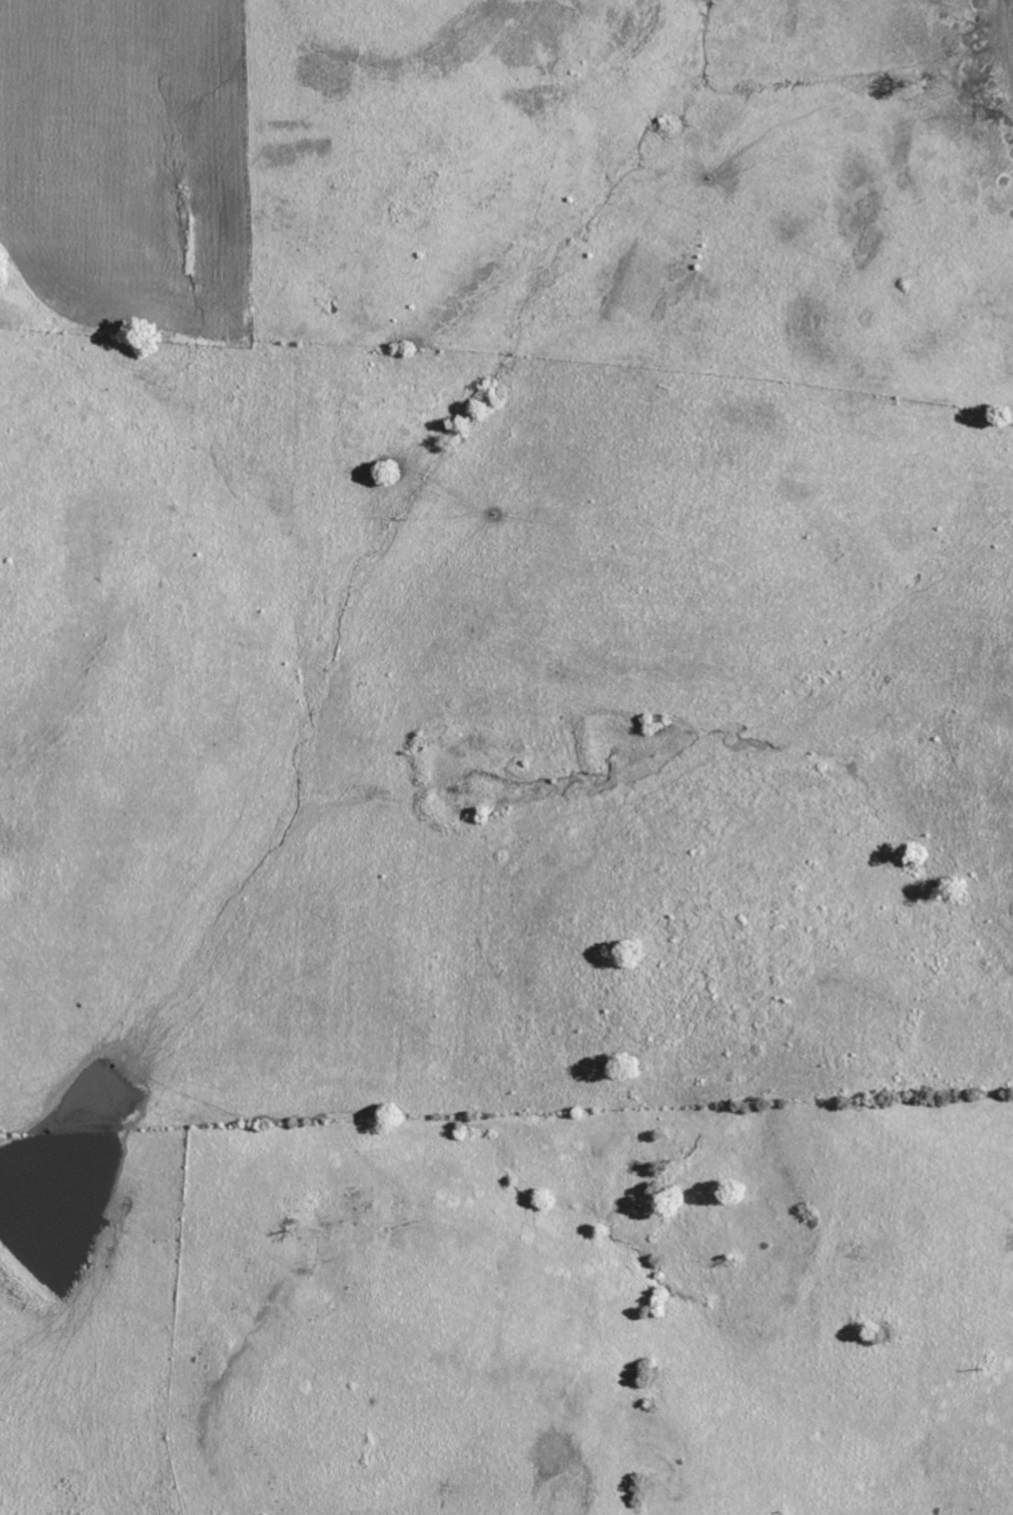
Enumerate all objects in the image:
road: (994, 221)

